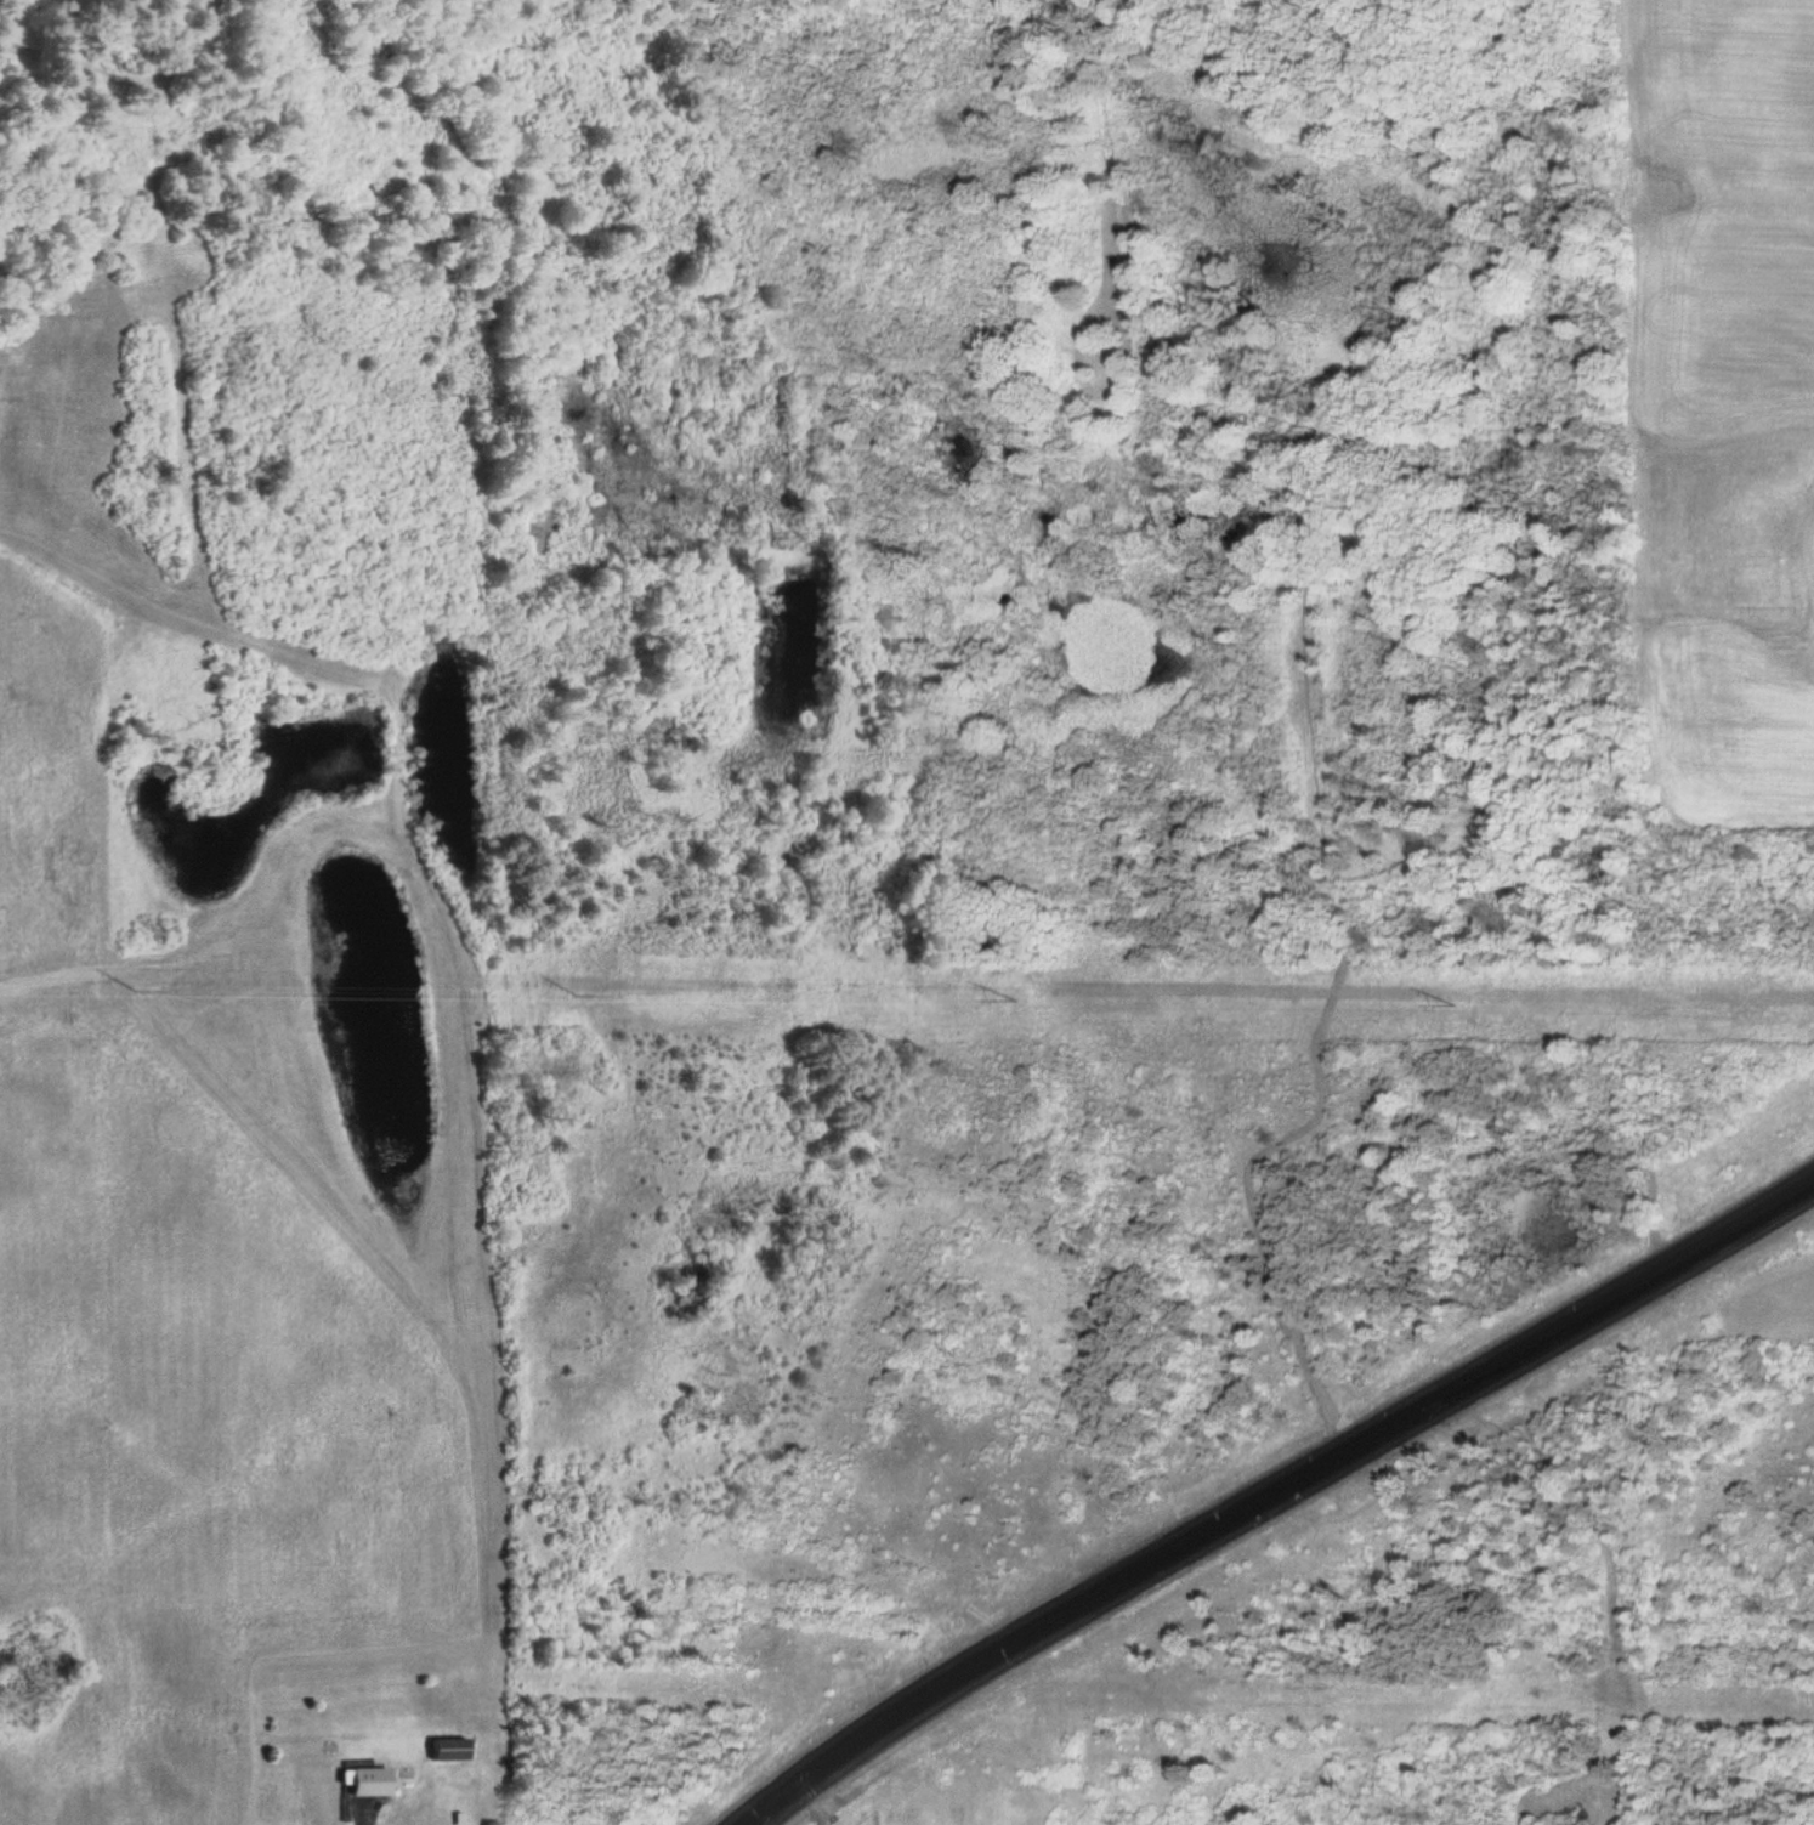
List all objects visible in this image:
road: (1274, 1492)
building: (449, 1747)
building: (369, 1781)

